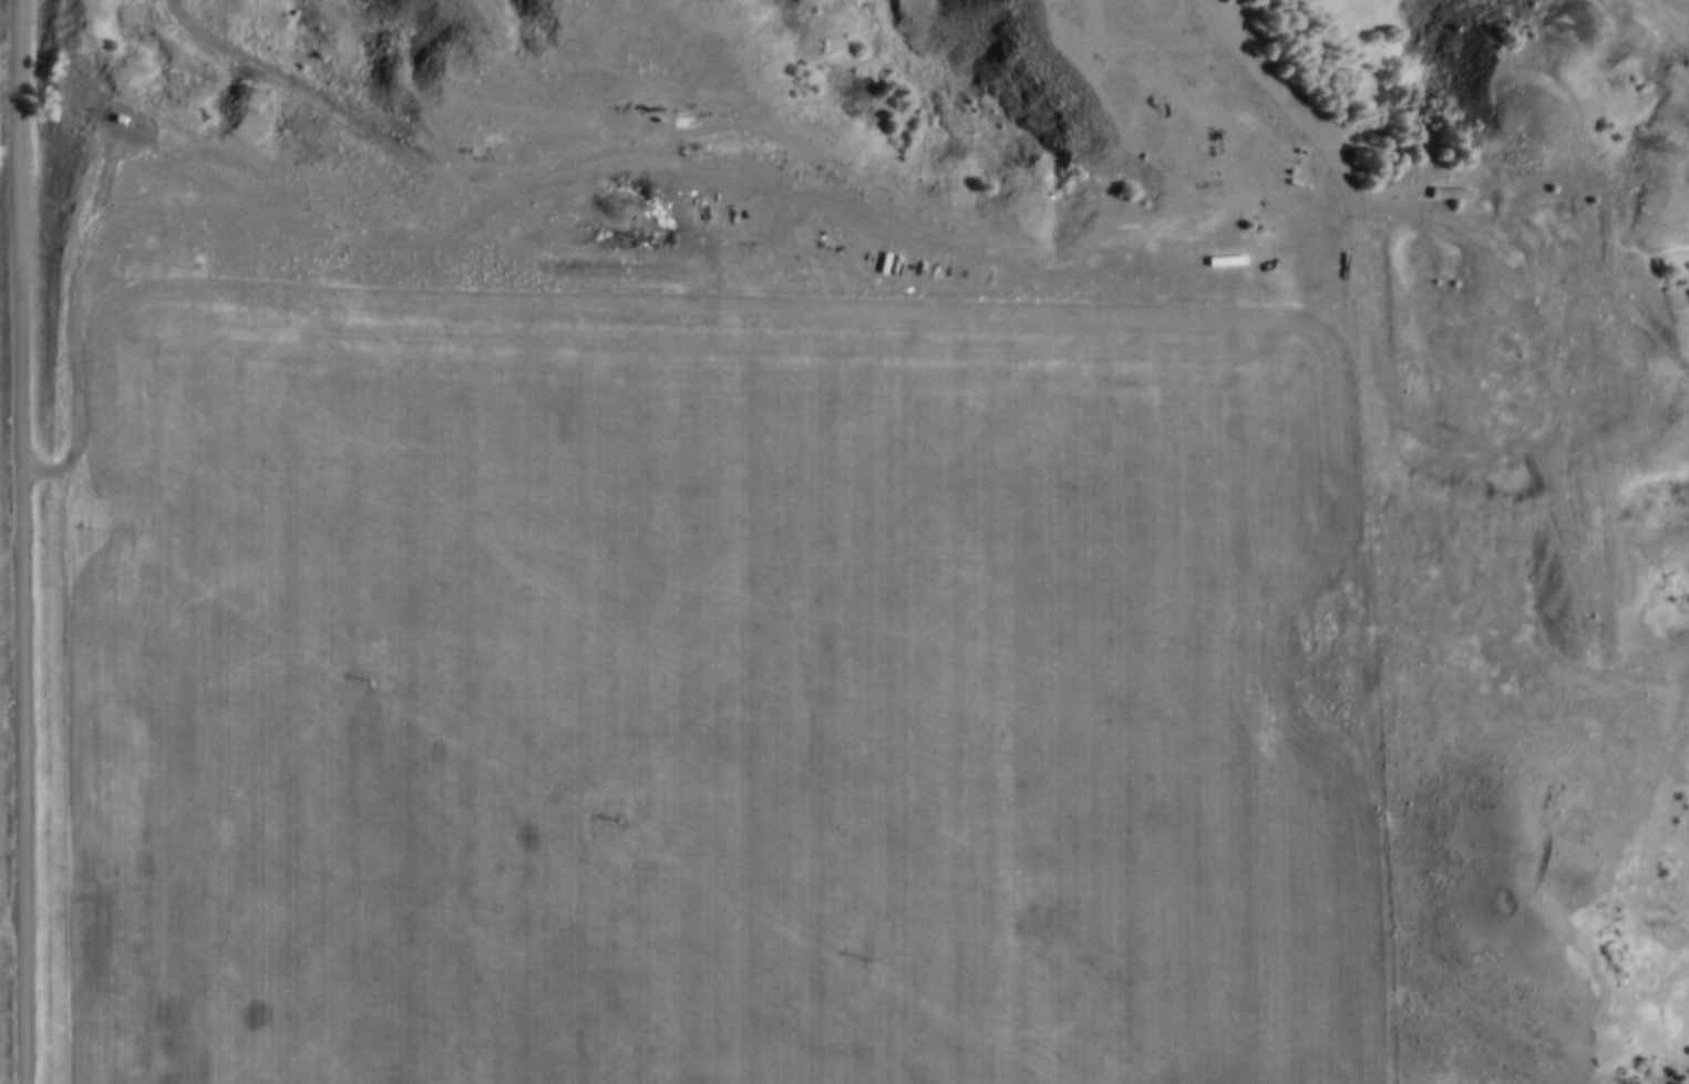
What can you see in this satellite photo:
building: (109, 105)
building: (1453, 195)
road: (173, 197)
road: (926, 238)
road: (22, 541)

